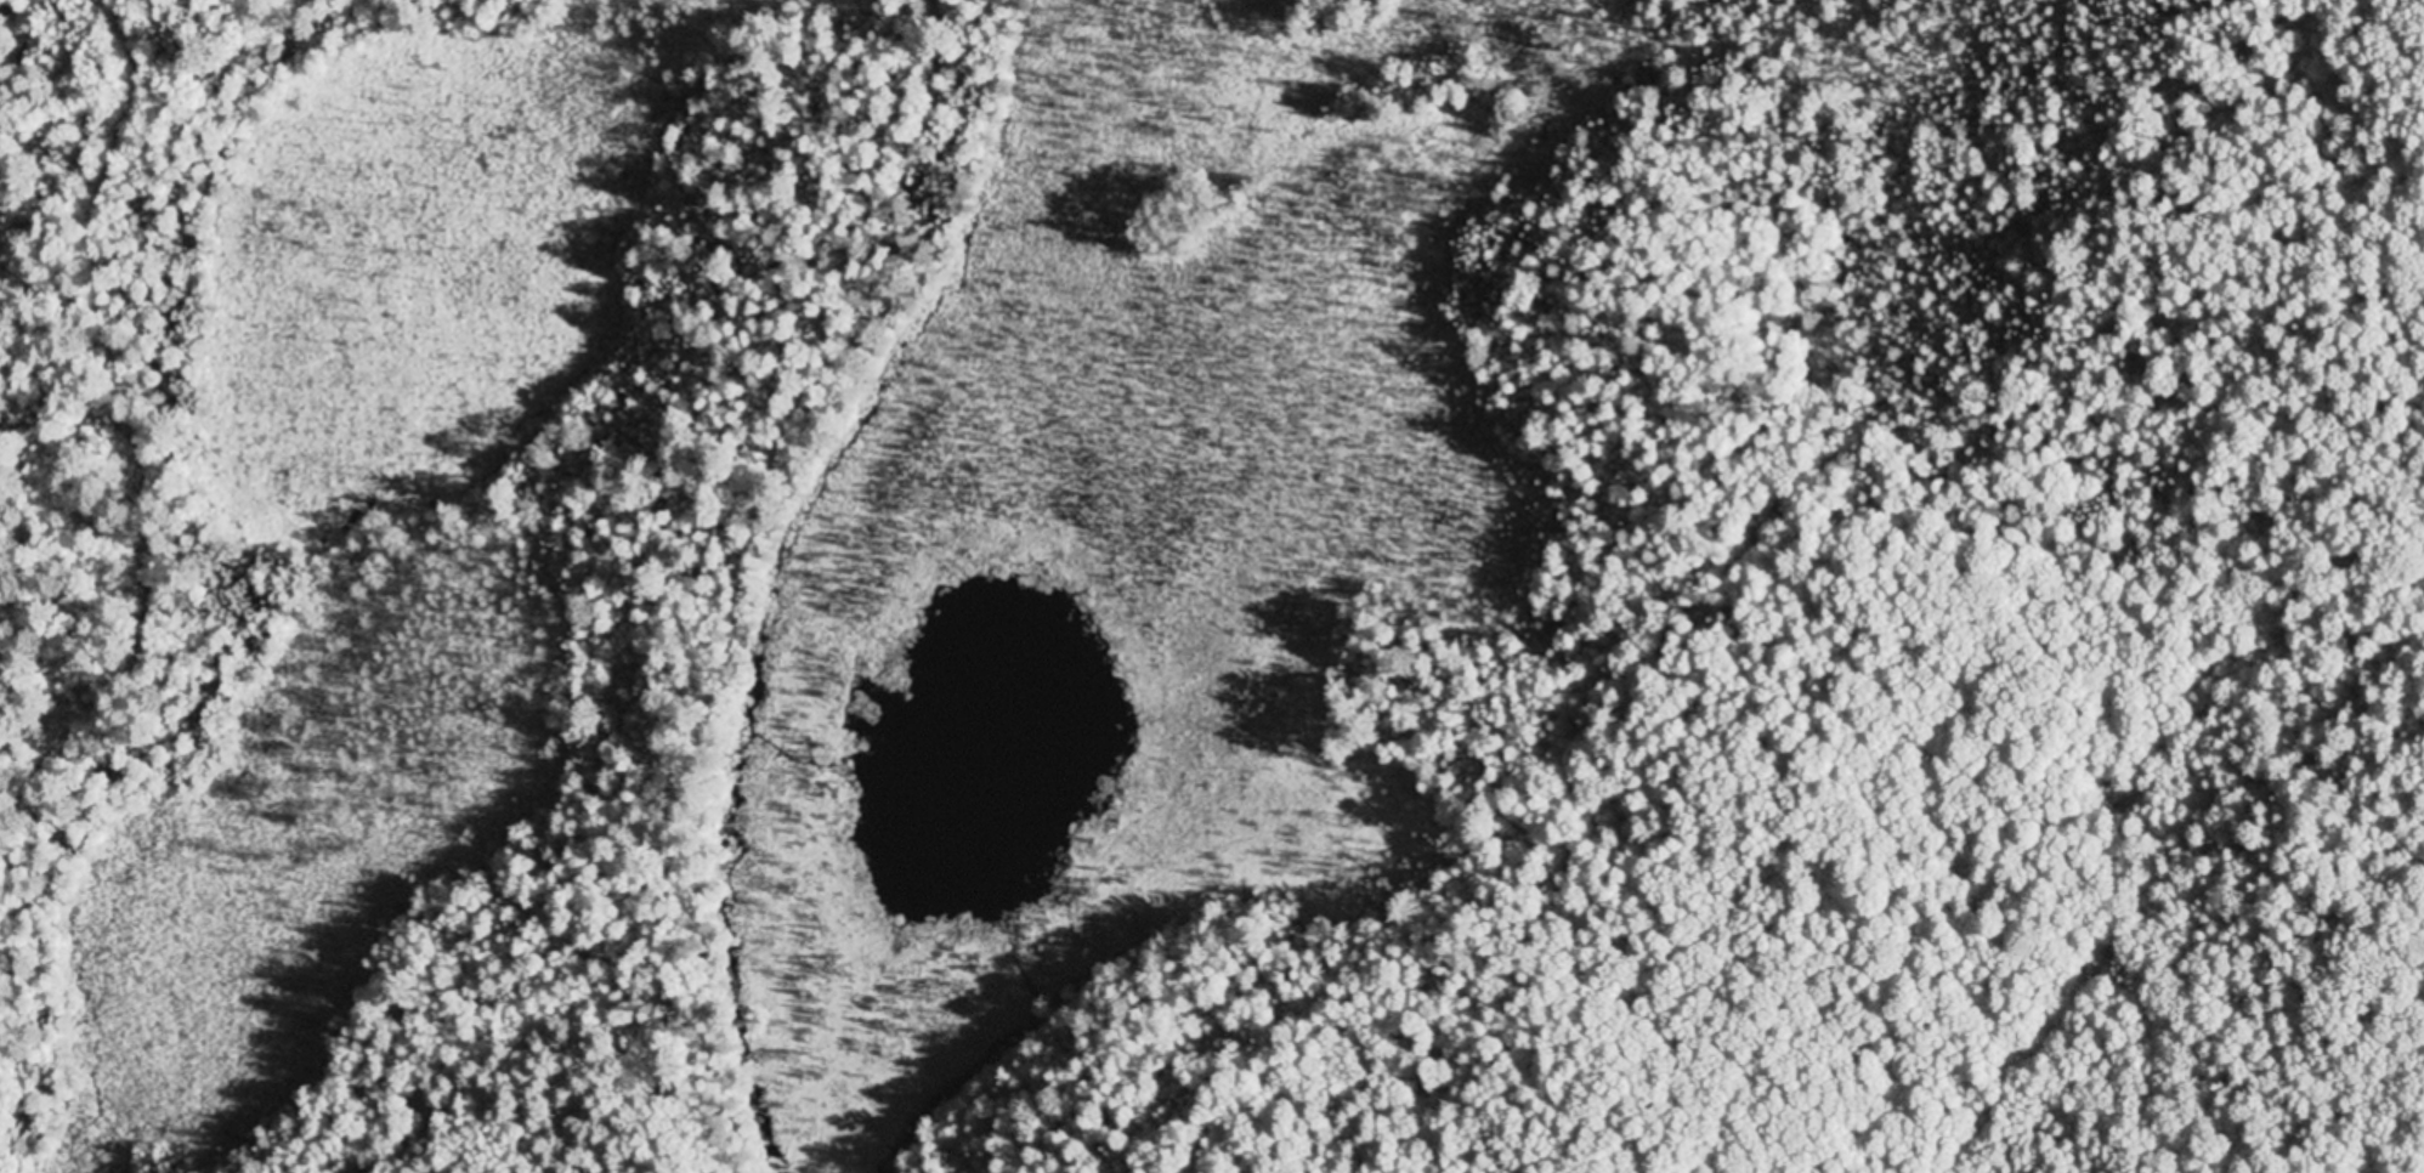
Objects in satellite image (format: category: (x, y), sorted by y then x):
road: (738, 577)

